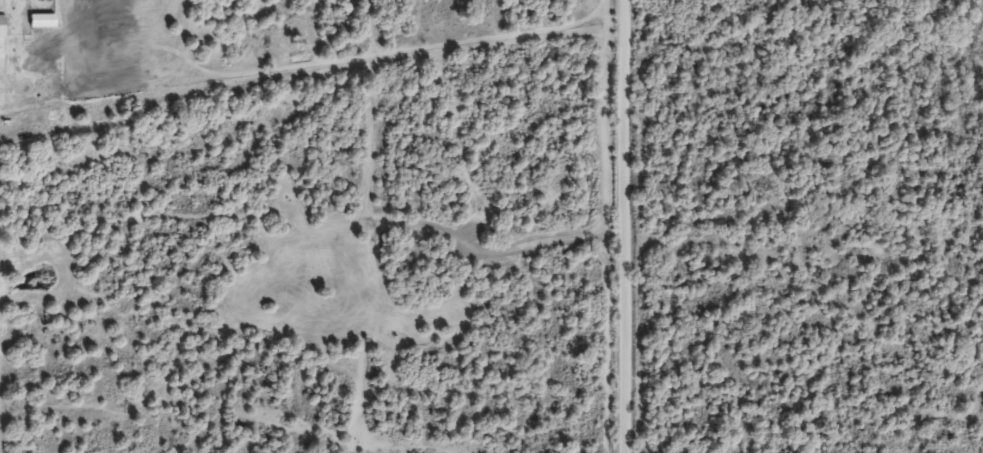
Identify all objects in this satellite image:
building: (36, 0)
building: (38, 28)
building: (0, 34)
road: (635, 226)

